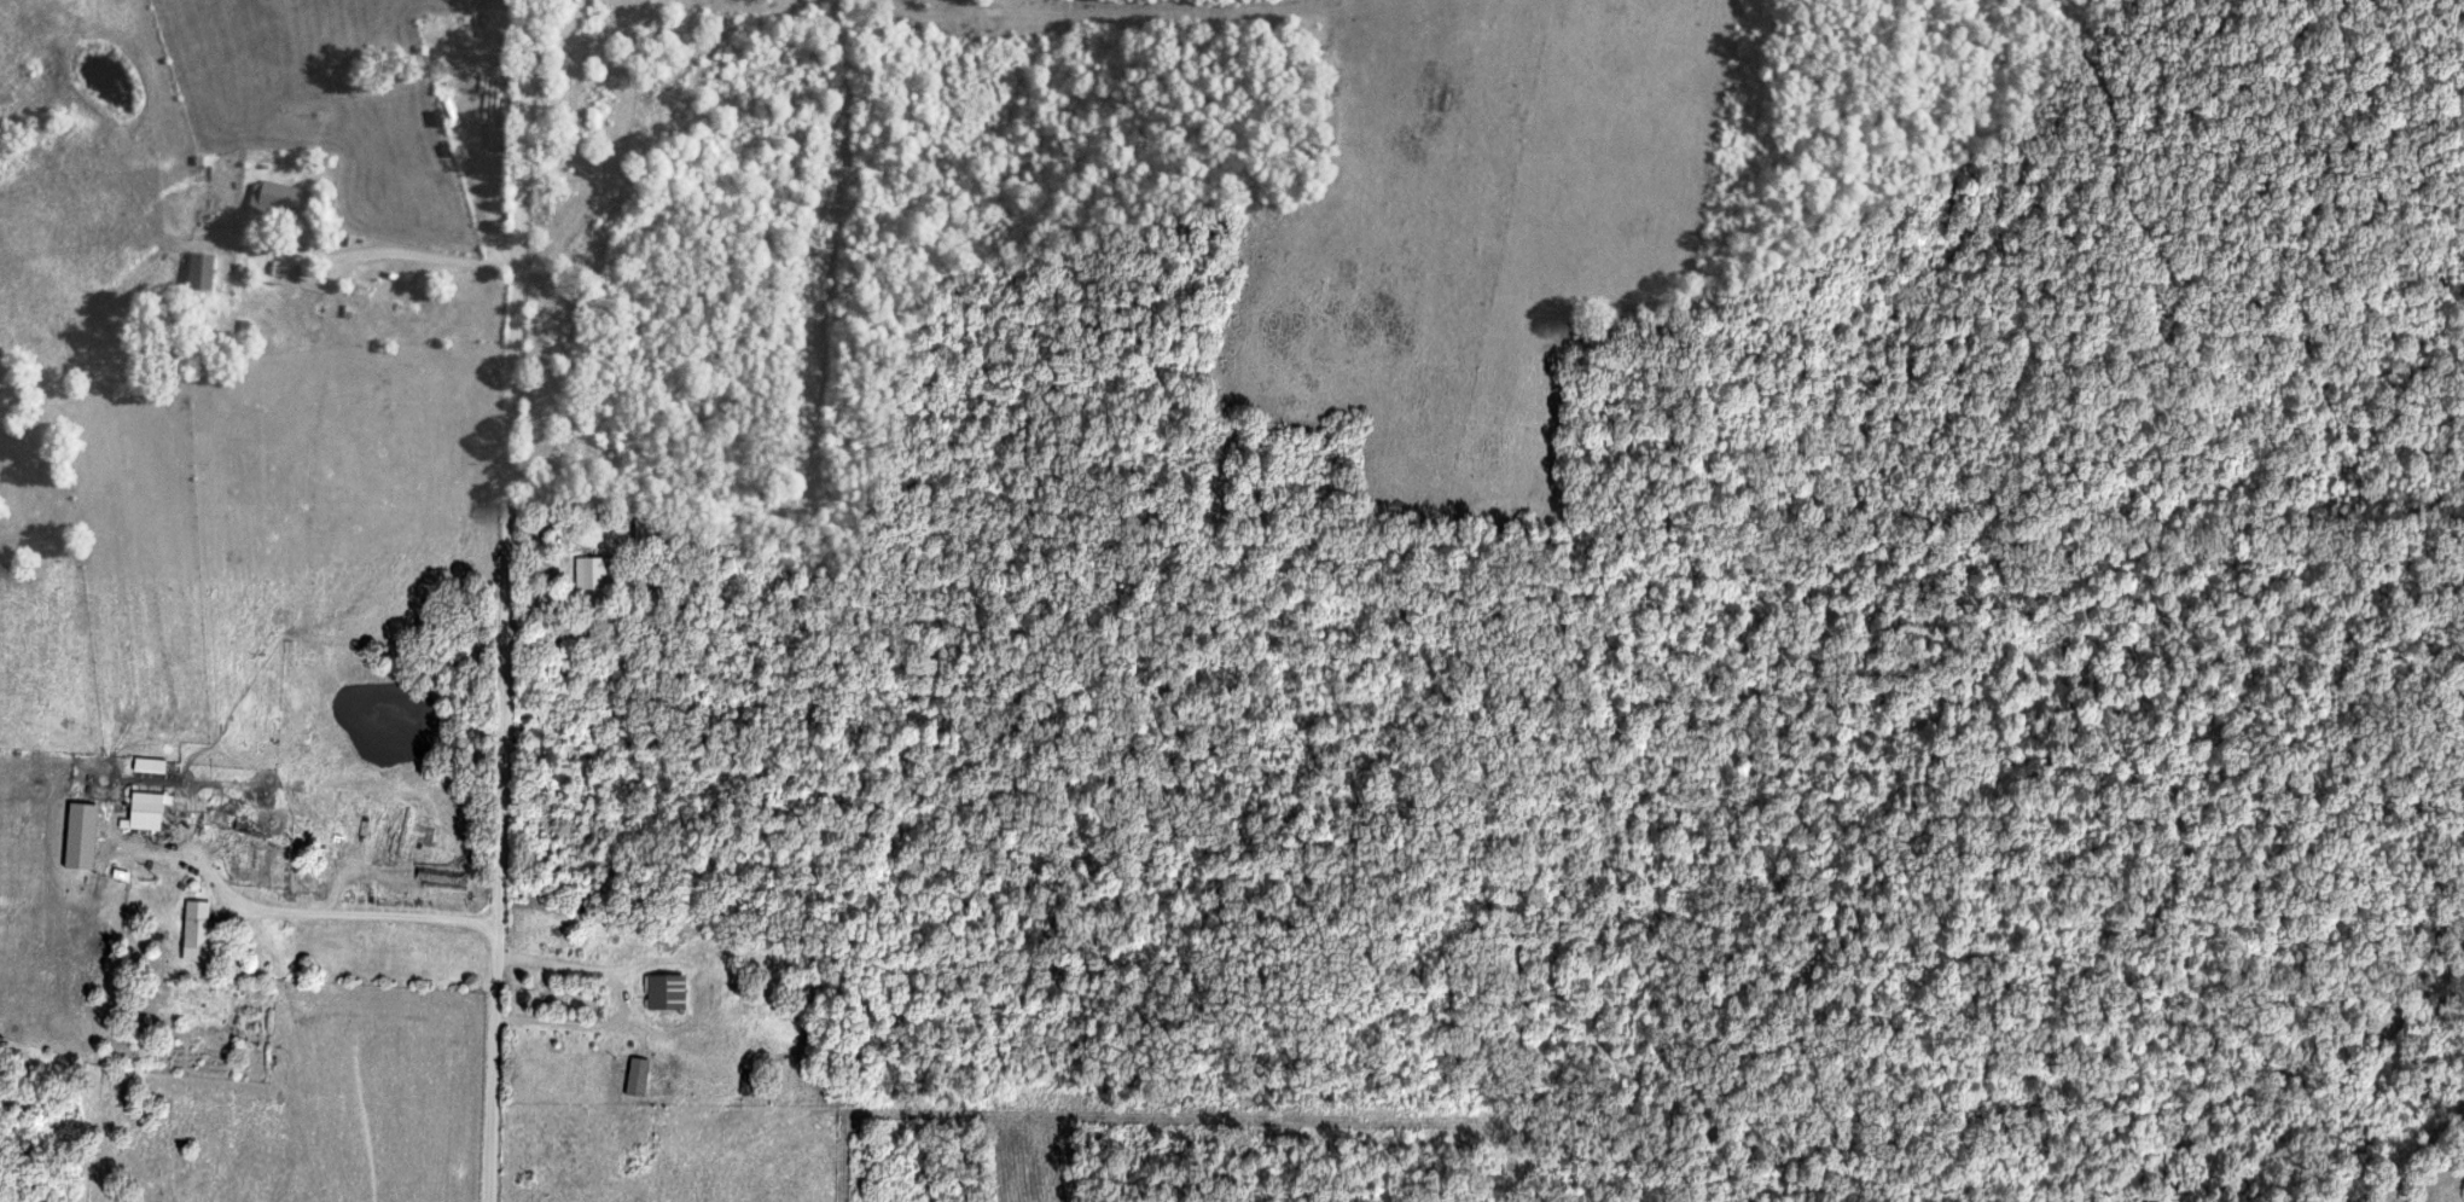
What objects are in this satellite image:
building: (277, 197)
road: (368, 248)
building: (279, 269)
building: (199, 271)
building: (588, 573)
road: (502, 600)
building: (147, 766)
building: (144, 812)
building: (77, 836)
road: (360, 916)
building: (193, 931)
building: (662, 993)
road: (612, 998)
building: (634, 1078)

